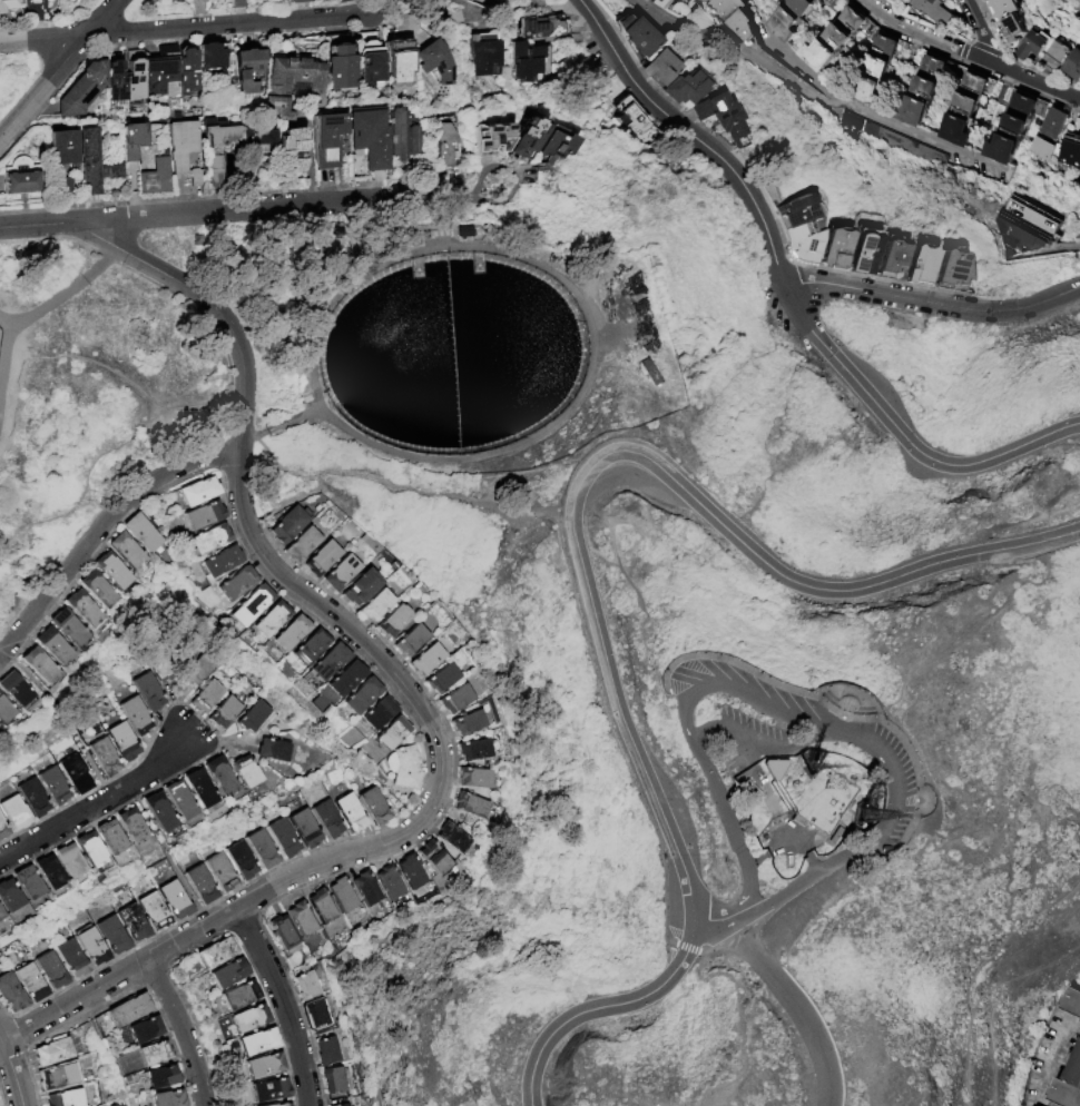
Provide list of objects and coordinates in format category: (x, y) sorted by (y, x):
building: (688, 0)
building: (199, 1)
building: (301, 1)
building: (826, 1)
building: (989, 1)
building: (33, 3)
building: (238, 3)
building: (665, 3)
building: (9, 6)
road: (581, 6)
building: (1005, 9)
building: (936, 10)
road: (532, 11)
road: (464, 12)
building: (738, 17)
road: (763, 18)
building: (792, 19)
road: (186, 29)
building: (546, 31)
building: (1015, 31)
road: (984, 32)
building: (836, 38)
building: (638, 39)
road: (929, 39)
building: (1034, 47)
building: (487, 56)
building: (213, 57)
building: (1058, 57)
road: (737, 58)
building: (371, 61)
building: (341, 63)
building: (400, 65)
building: (436, 65)
building: (533, 65)
building: (1074, 67)
road: (59, 69)
building: (188, 70)
building: (163, 71)
building: (249, 71)
building: (662, 71)
building: (135, 78)
building: (116, 79)
building: (874, 80)
road: (1037, 83)
building: (292, 85)
building: (84, 90)
building: (688, 91)
building: (924, 91)
building: (969, 110)
road: (880, 115)
building: (723, 118)
building: (1056, 125)
road: (3, 130)
building: (1014, 131)
road: (698, 139)
building: (891, 139)
building: (257, 140)
building: (370, 140)
building: (401, 140)
building: (134, 141)
building: (529, 141)
building: (494, 144)
building: (332, 145)
building: (446, 148)
building: (558, 148)
building: (1072, 148)
building: (185, 149)
building: (216, 149)
building: (1044, 150)
building: (294, 151)
building: (67, 160)
building: (95, 164)
building: (251, 175)
road: (513, 177)
building: (157, 178)
building: (21, 179)
road: (426, 196)
road: (220, 210)
building: (799, 221)
road: (28, 226)
building: (1028, 228)
road: (1066, 246)
building: (836, 251)
building: (865, 256)
building: (892, 261)
building: (921, 269)
building: (952, 275)
road: (188, 290)
road: (63, 292)
road: (933, 303)
road: (4, 352)
road: (91, 361)
road: (903, 436)
road: (1059, 441)
road: (109, 447)
road: (799, 457)
road: (393, 484)
building: (202, 492)
building: (206, 516)
road: (1014, 523)
building: (291, 525)
road: (99, 530)
building: (145, 532)
building: (212, 540)
building: (304, 546)
building: (129, 551)
building: (324, 559)
building: (224, 562)
park: (802, 562)
building: (115, 571)
building: (343, 573)
road: (787, 579)
building: (238, 585)
building: (363, 587)
building: (99, 590)
road: (635, 594)
building: (379, 605)
building: (254, 606)
building: (85, 610)
building: (273, 621)
building: (395, 622)
road: (972, 625)
building: (70, 628)
building: (293, 633)
building: (413, 641)
building: (55, 646)
building: (313, 648)
building: (430, 660)
building: (332, 662)
building: (163, 665)
building: (41, 666)
building: (202, 671)
building: (348, 679)
building: (444, 679)
building: (17, 691)
building: (151, 692)
road: (414, 694)
building: (209, 697)
building: (364, 697)
building: (459, 700)
building: (4, 711)
building: (227, 713)
building: (381, 713)
building: (137, 717)
road: (792, 717)
building: (256, 718)
road: (621, 720)
building: (471, 724)
road: (701, 727)
road: (611, 733)
building: (394, 734)
road: (817, 735)
road: (755, 739)
parking lot: (746, 740)
building: (125, 742)
building: (478, 750)
parking lot: (887, 750)
building: (275, 751)
building: (107, 758)
building: (406, 768)
building: (248, 772)
building: (77, 774)
building: (223, 777)
building: (478, 778)
building: (56, 787)
road: (108, 789)
building: (203, 789)
building: (36, 799)
building: (822, 800)
building: (183, 801)
building: (377, 807)
building: (473, 807)
road: (96, 808)
building: (161, 812)
building: (17, 813)
building: (353, 813)
building: (861, 813)
building: (330, 820)
building: (134, 826)
building: (3, 829)
building: (307, 829)
building: (112, 838)
building: (455, 838)
building: (286, 839)
road: (785, 848)
road: (1007, 848)
building: (92, 850)
building: (265, 850)
building: (436, 858)
building: (72, 861)
building: (244, 861)
building: (224, 872)
building: (413, 872)
building: (51, 873)
building: (29, 882)
building: (392, 882)
building: (203, 885)
building: (369, 889)
building: (10, 896)
building: (344, 896)
building: (177, 900)
building: (324, 907)
building: (156, 911)
building: (2, 915)
building: (303, 919)
road: (704, 920)
building: (135, 924)
building: (285, 932)
road: (189, 935)
building: (115, 936)
road: (723, 941)
building: (95, 947)
road: (689, 948)
building: (216, 954)
building: (73, 959)
building: (53, 971)
park: (696, 974)
building: (229, 975)
building: (33, 984)
building: (307, 987)
road: (968, 987)
building: (12, 994)
road: (981, 994)
road: (805, 995)
building: (240, 997)
road: (994, 999)
road: (792, 1001)
building: (1072, 1001)
road: (73, 1003)
road: (281, 1004)
road: (601, 1006)
building: (129, 1011)
building: (318, 1018)
building: (249, 1019)
road: (181, 1030)
building: (146, 1031)
road: (1, 1041)
building: (258, 1043)
building: (53, 1053)
building: (328, 1053)
building: (155, 1055)
building: (265, 1067)
road: (13, 1074)
building: (59, 1077)
building: (164, 1078)
building: (335, 1082)
building: (1069, 1087)
building: (271, 1090)
building: (66, 1098)
building: (169, 1099)
building: (0, 1105)
building: (282, 1105)
building: (287, 1105)
building: (346, 1105)

